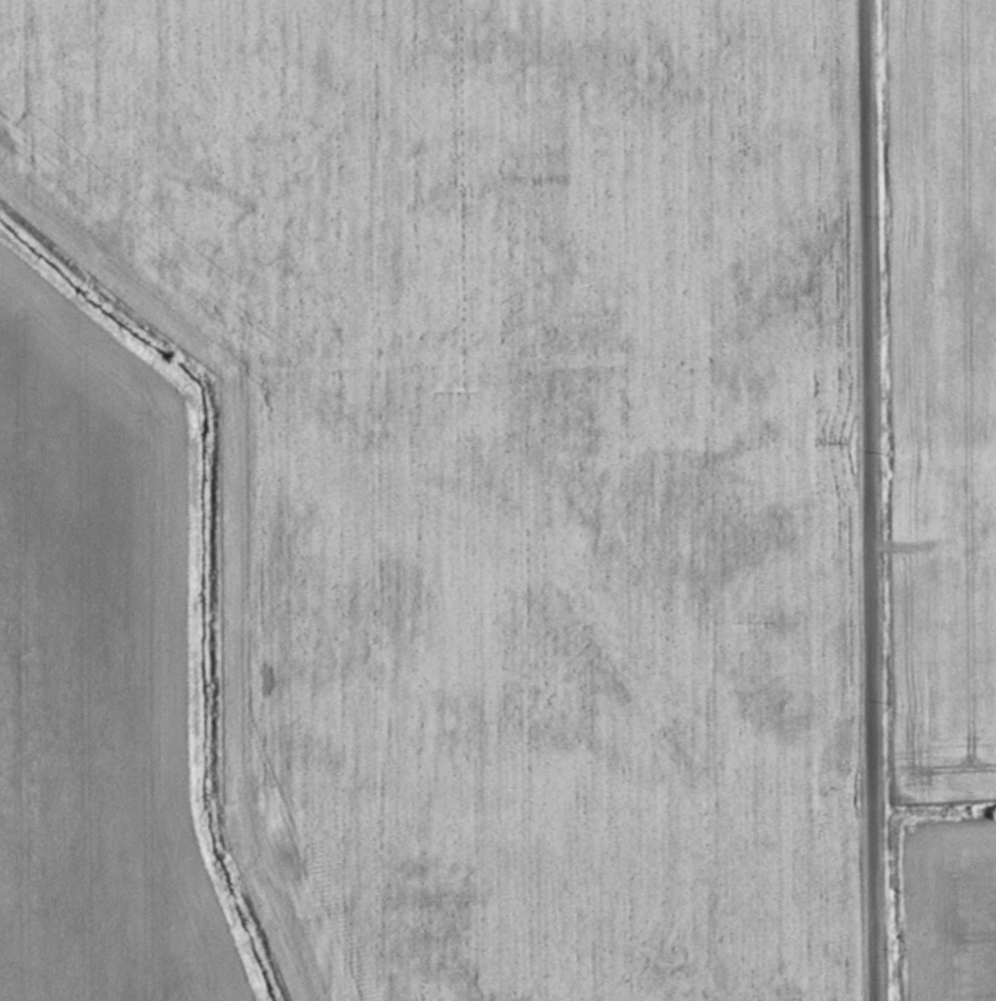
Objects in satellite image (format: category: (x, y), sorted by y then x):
road: (876, 500)
building: (959, 501)

